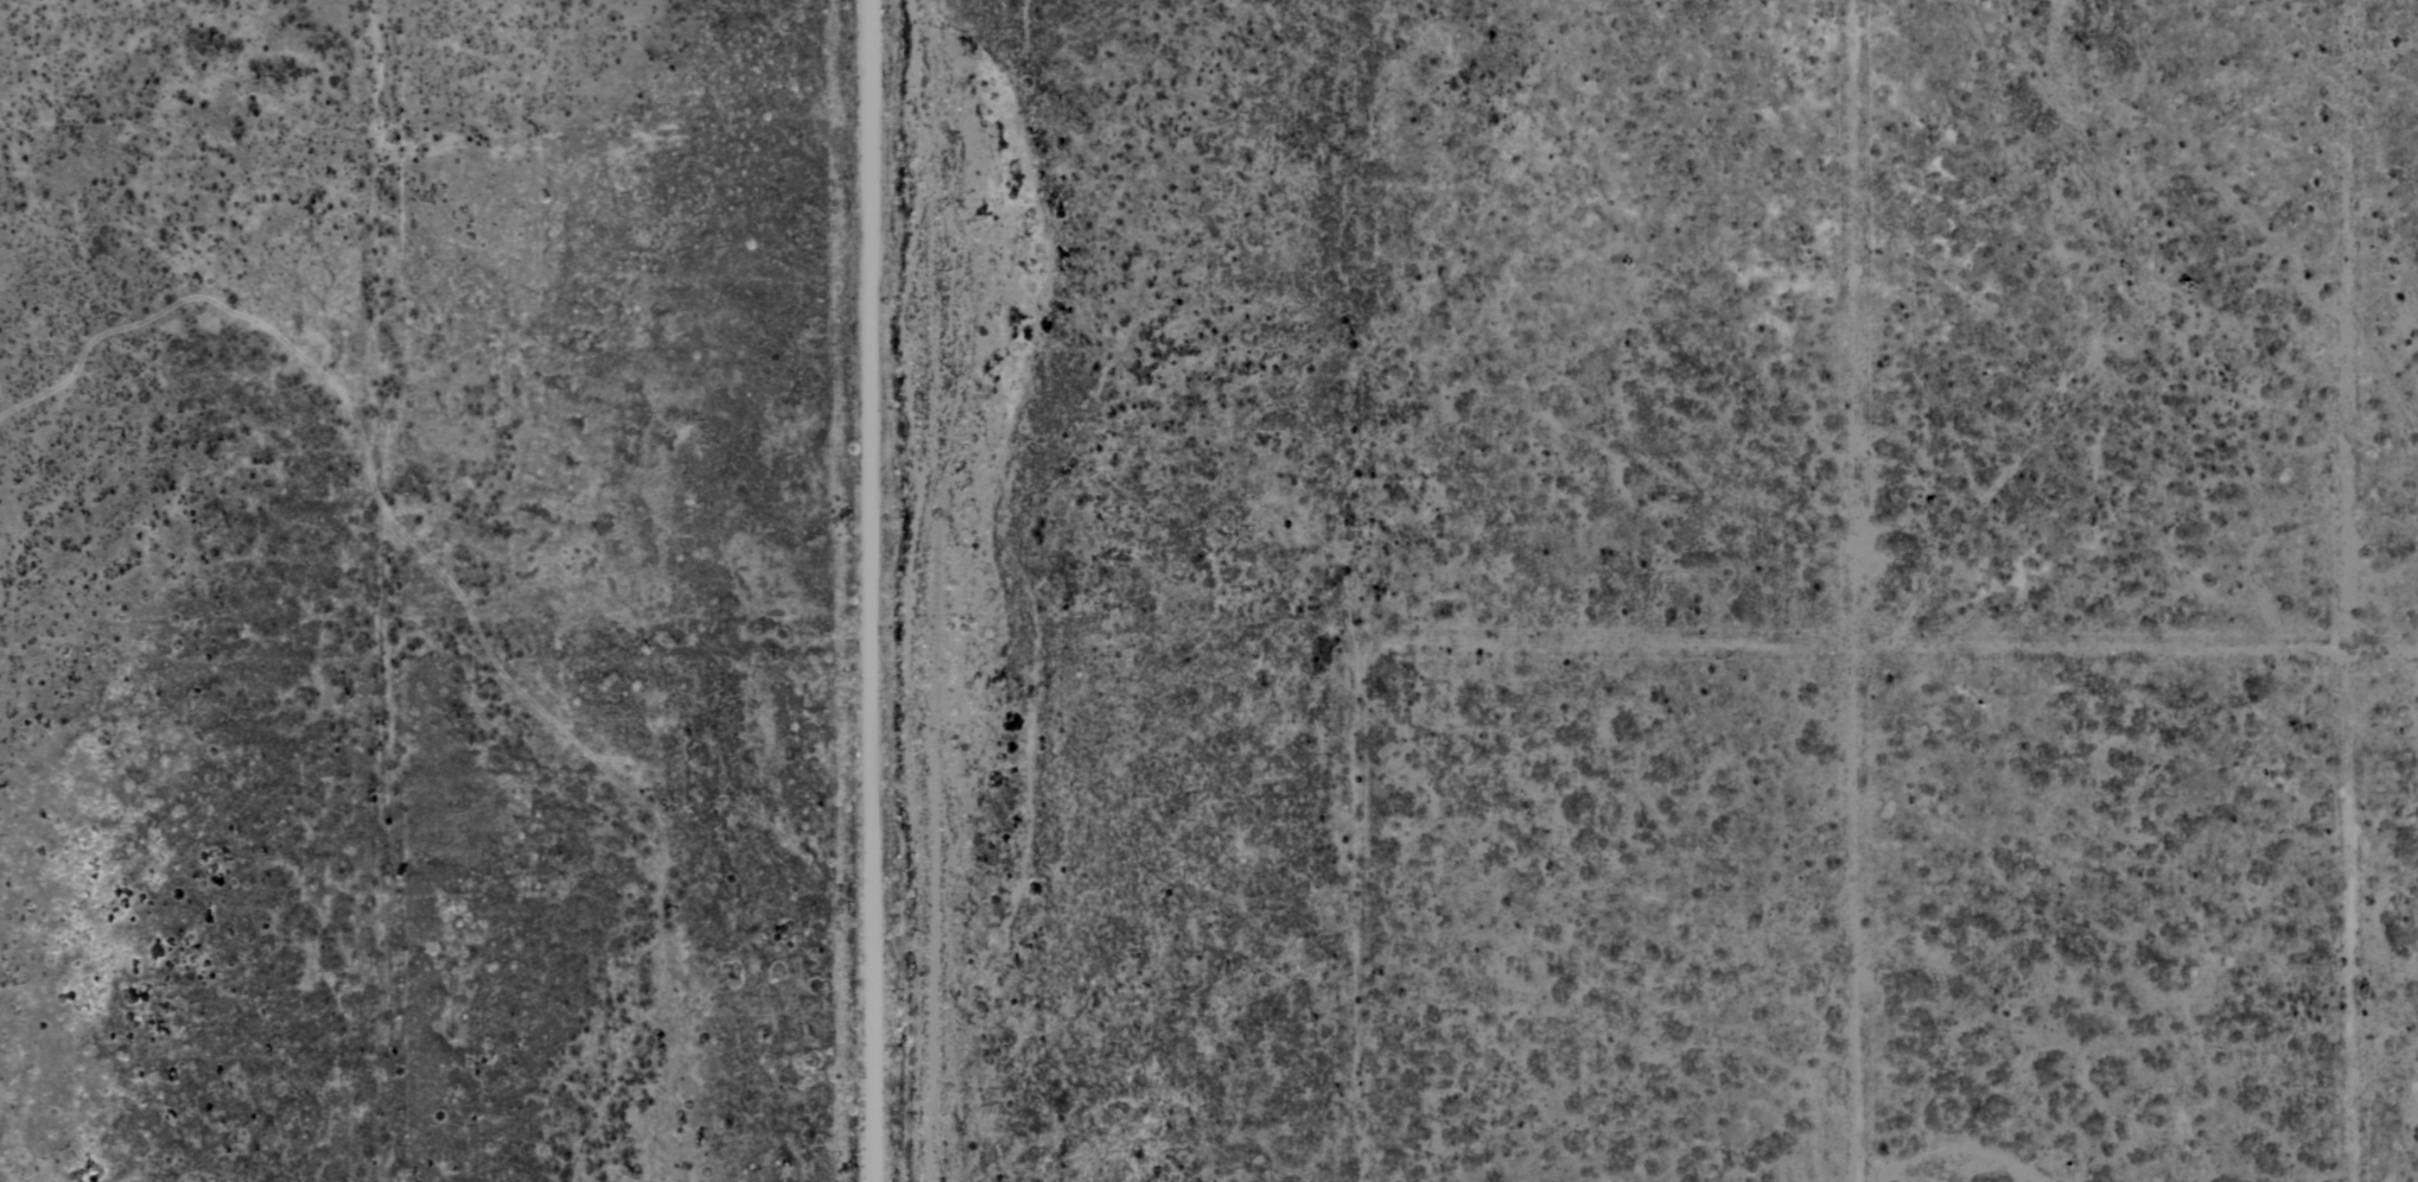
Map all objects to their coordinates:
road: (868, 591)

